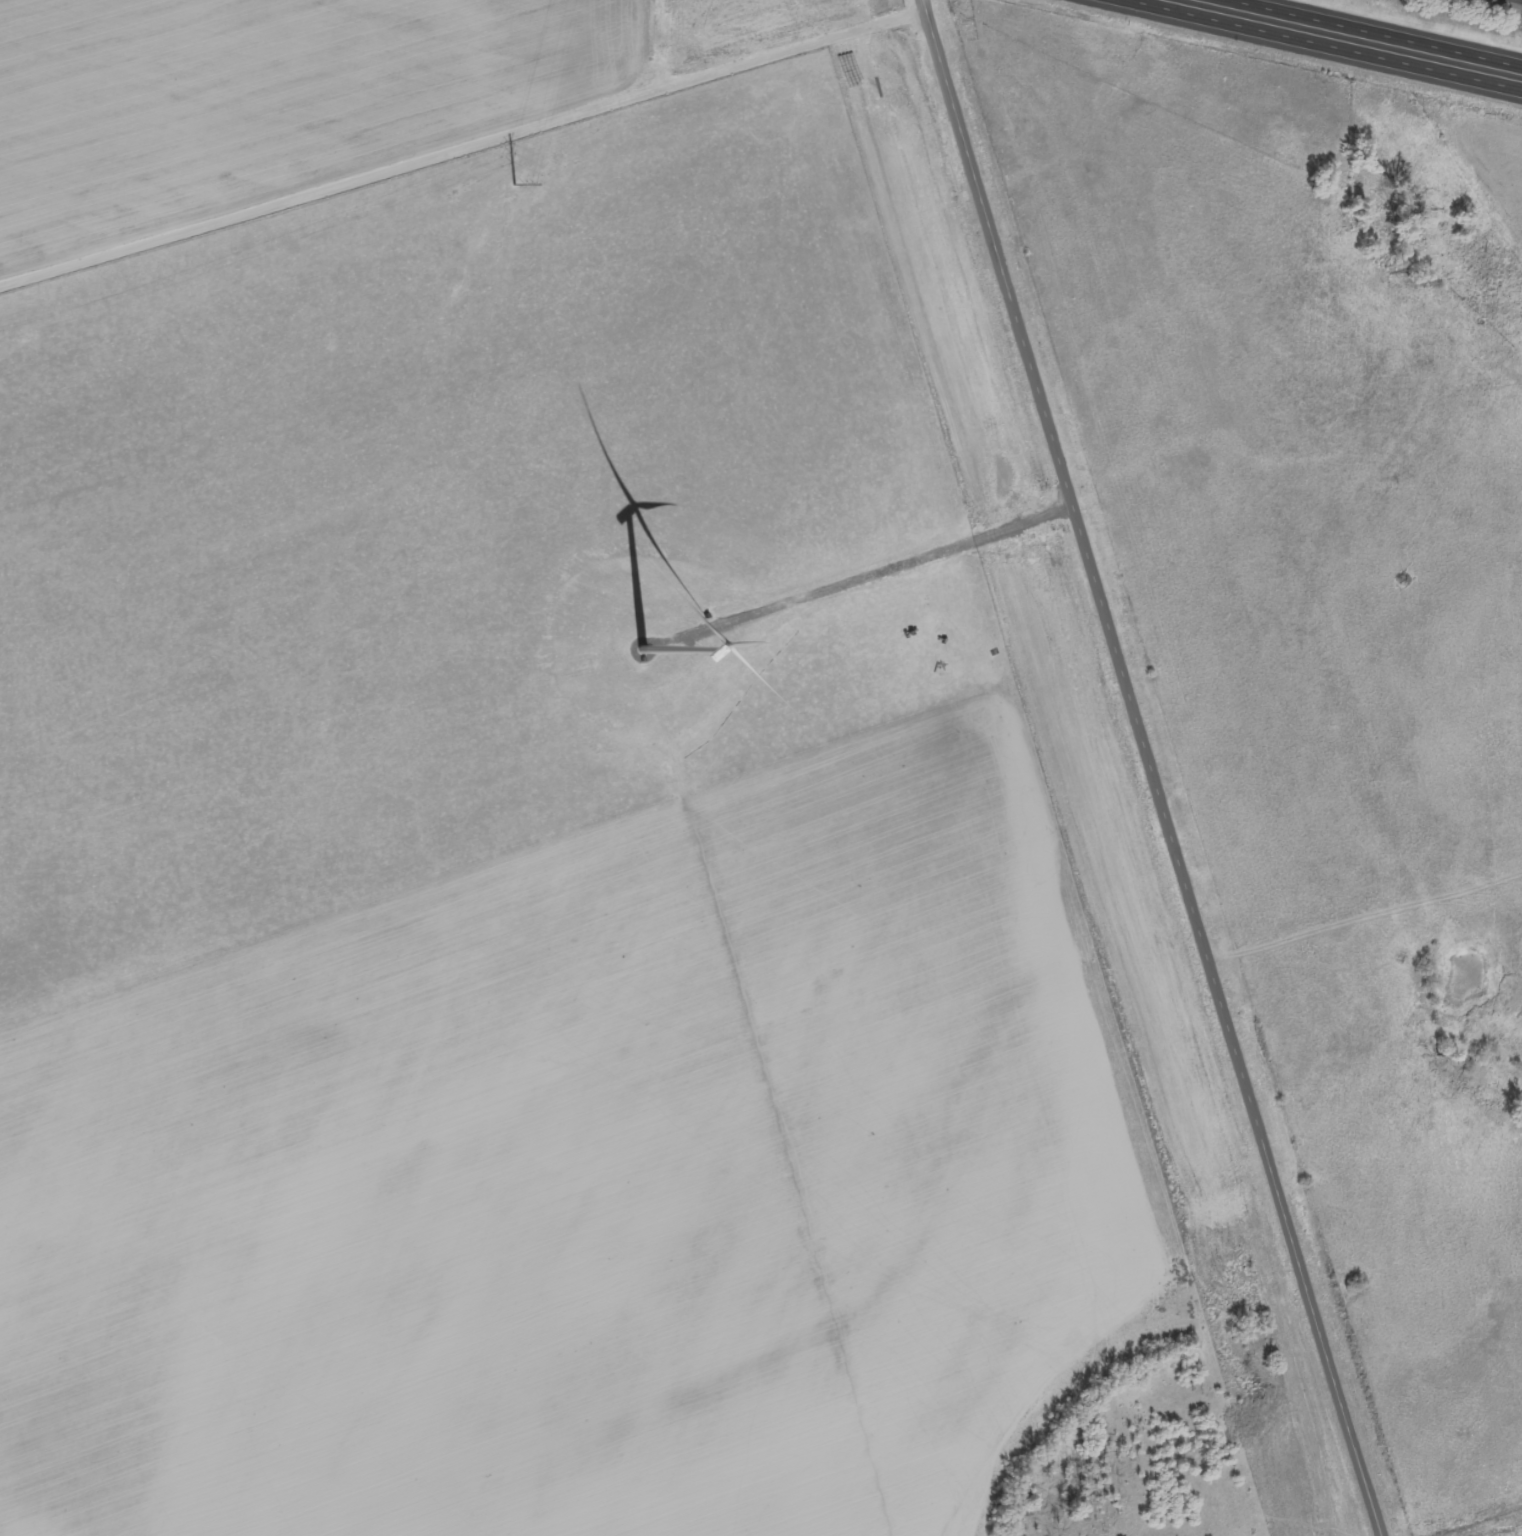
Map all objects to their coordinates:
railway: (1519, 0)
road: (1352, 36)
road: (464, 149)
power tower: (515, 183)
wind turbine: (643, 647)
road: (1155, 768)

